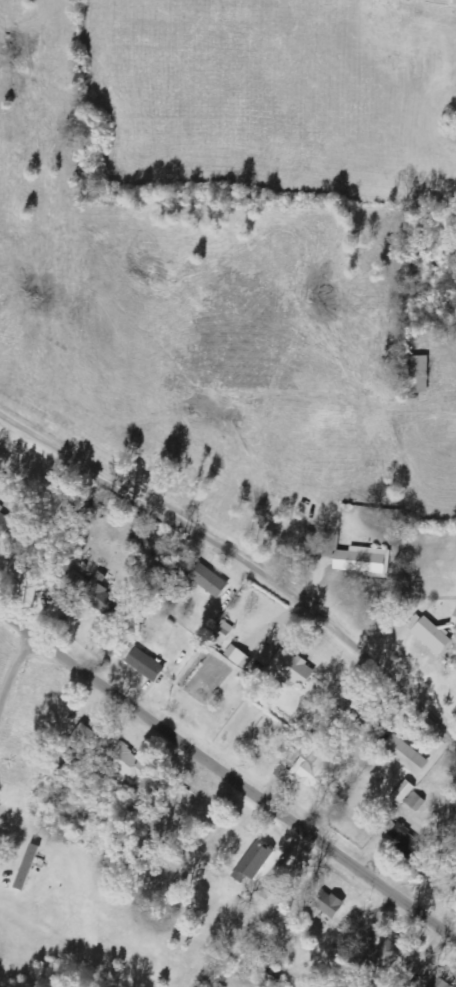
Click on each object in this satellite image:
building: (419, 375)
building: (4, 523)
road: (238, 558)
building: (364, 562)
building: (163, 576)
building: (209, 580)
building: (100, 596)
building: (454, 620)
building: (223, 633)
building: (433, 636)
building: (236, 655)
building: (146, 665)
building: (293, 668)
road: (19, 692)
building: (83, 739)
building: (406, 755)
building: (129, 763)
building: (310, 768)
road: (228, 773)
building: (403, 793)
building: (414, 800)
building: (406, 839)
building: (254, 862)
building: (28, 867)
building: (330, 905)
building: (388, 955)
building: (440, 983)

